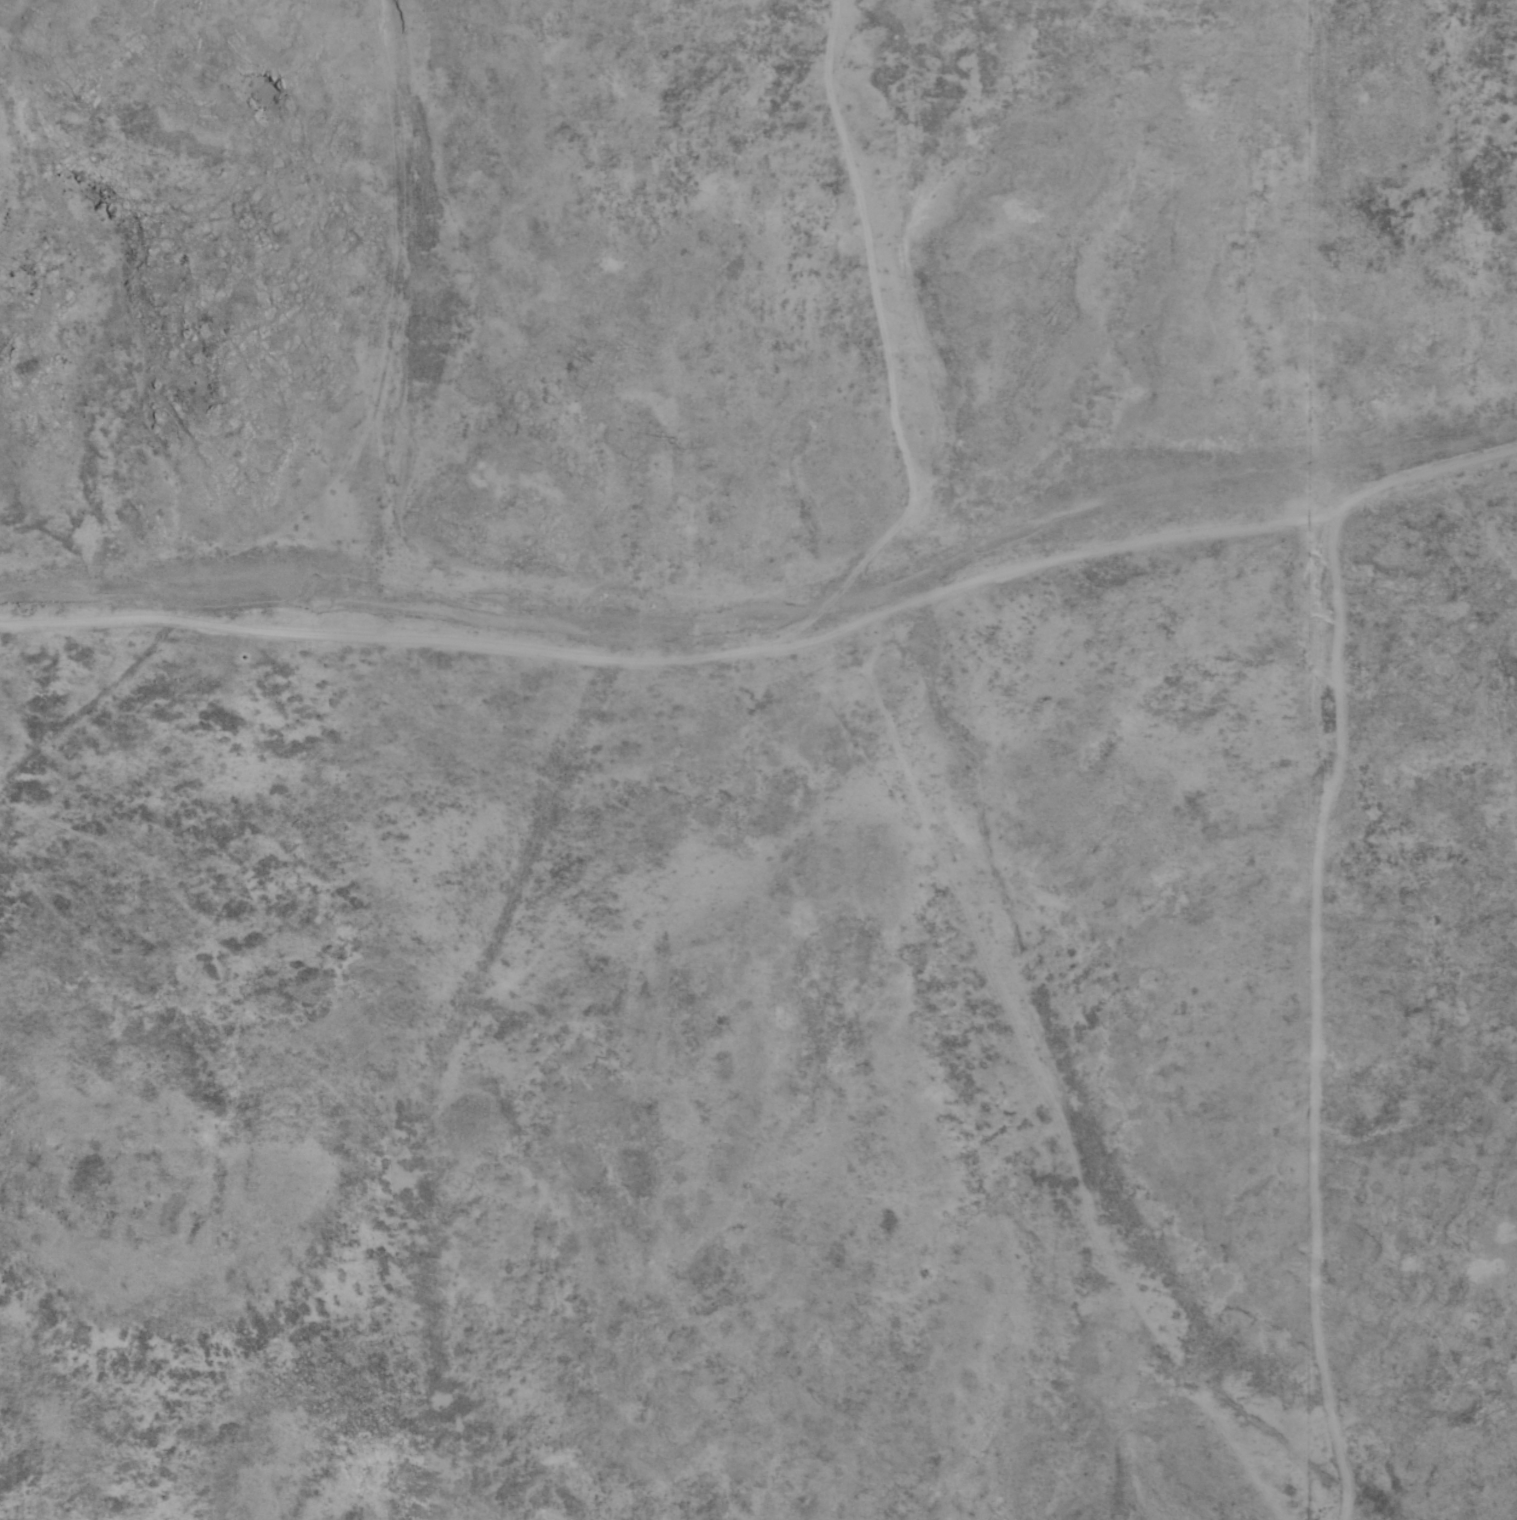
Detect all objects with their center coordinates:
road: (772, 651)
road: (1315, 1018)

